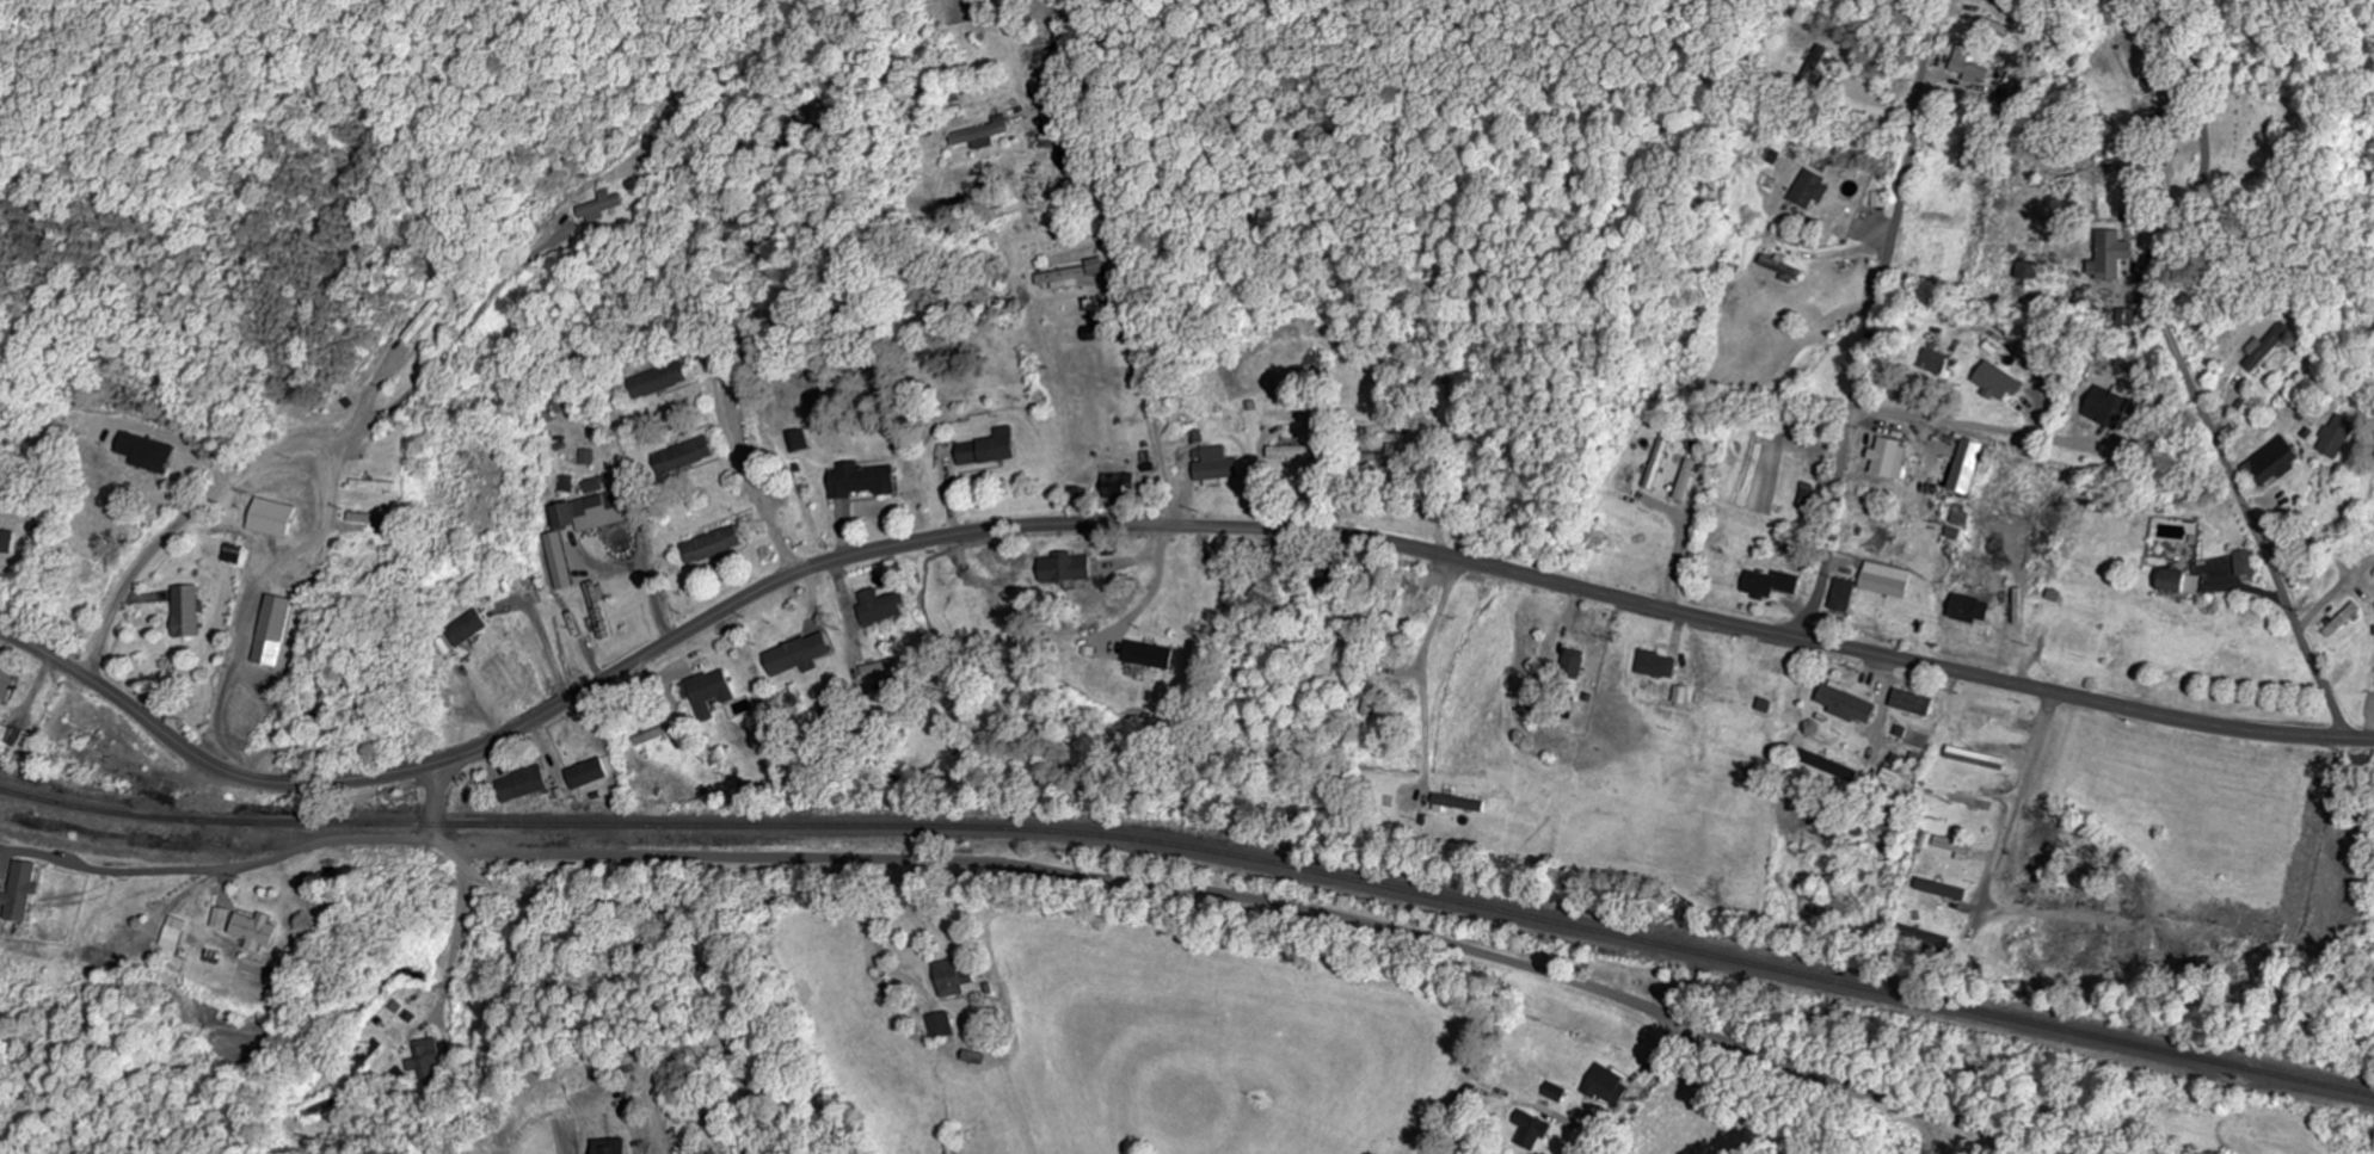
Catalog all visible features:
building: (1814, 66)
building: (1968, 69)
building: (983, 136)
building: (1812, 191)
building: (1878, 200)
building: (601, 208)
building: (2112, 257)
building: (1100, 267)
building: (2025, 270)
building: (1063, 279)
building: (2130, 319)
road: (1872, 321)
building: (422, 322)
building: (2265, 350)
building: (1938, 363)
road: (2185, 372)
building: (659, 382)
building: (1999, 383)
building: (2110, 409)
building: (2335, 442)
building: (988, 450)
building: (1300, 453)
building: (148, 455)
building: (685, 456)
building: (1397, 456)
building: (588, 458)
building: (1893, 459)
building: (2275, 463)
building: (1211, 464)
building: (1658, 465)
building: (1968, 468)
building: (1687, 480)
building: (862, 482)
building: (1119, 486)
building: (598, 512)
building: (1958, 516)
building: (272, 519)
road: (1149, 526)
building: (1955, 535)
building: (7, 542)
building: (715, 545)
building: (560, 562)
building: (2247, 564)
building: (1070, 569)
building: (1889, 581)
building: (2185, 582)
building: (1772, 586)
building: (1266, 597)
building: (1844, 597)
building: (881, 609)
building: (1972, 610)
building: (599, 611)
building: (186, 612)
building: (467, 629)
building: (276, 631)
building: (804, 655)
building: (1150, 656)
building: (1660, 666)
building: (885, 668)
building: (1576, 668)
building: (8, 686)
building: (715, 693)
building: (1374, 696)
building: (1915, 703)
building: (1851, 706)
building: (744, 708)
building: (1980, 759)
road: (2035, 767)
building: (590, 775)
building: (1893, 775)
building: (524, 785)
building: (1459, 804)
railway: (1197, 852)
building: (0, 884)
building: (1946, 890)
building: (23, 893)
road: (1226, 895)
building: (223, 919)
building: (259, 932)
building: (176, 934)
building: (958, 979)
building: (945, 1026)
building: (430, 1061)
building: (1612, 1088)
road: (1648, 1092)
building: (1538, 1131)
building: (616, 1147)

